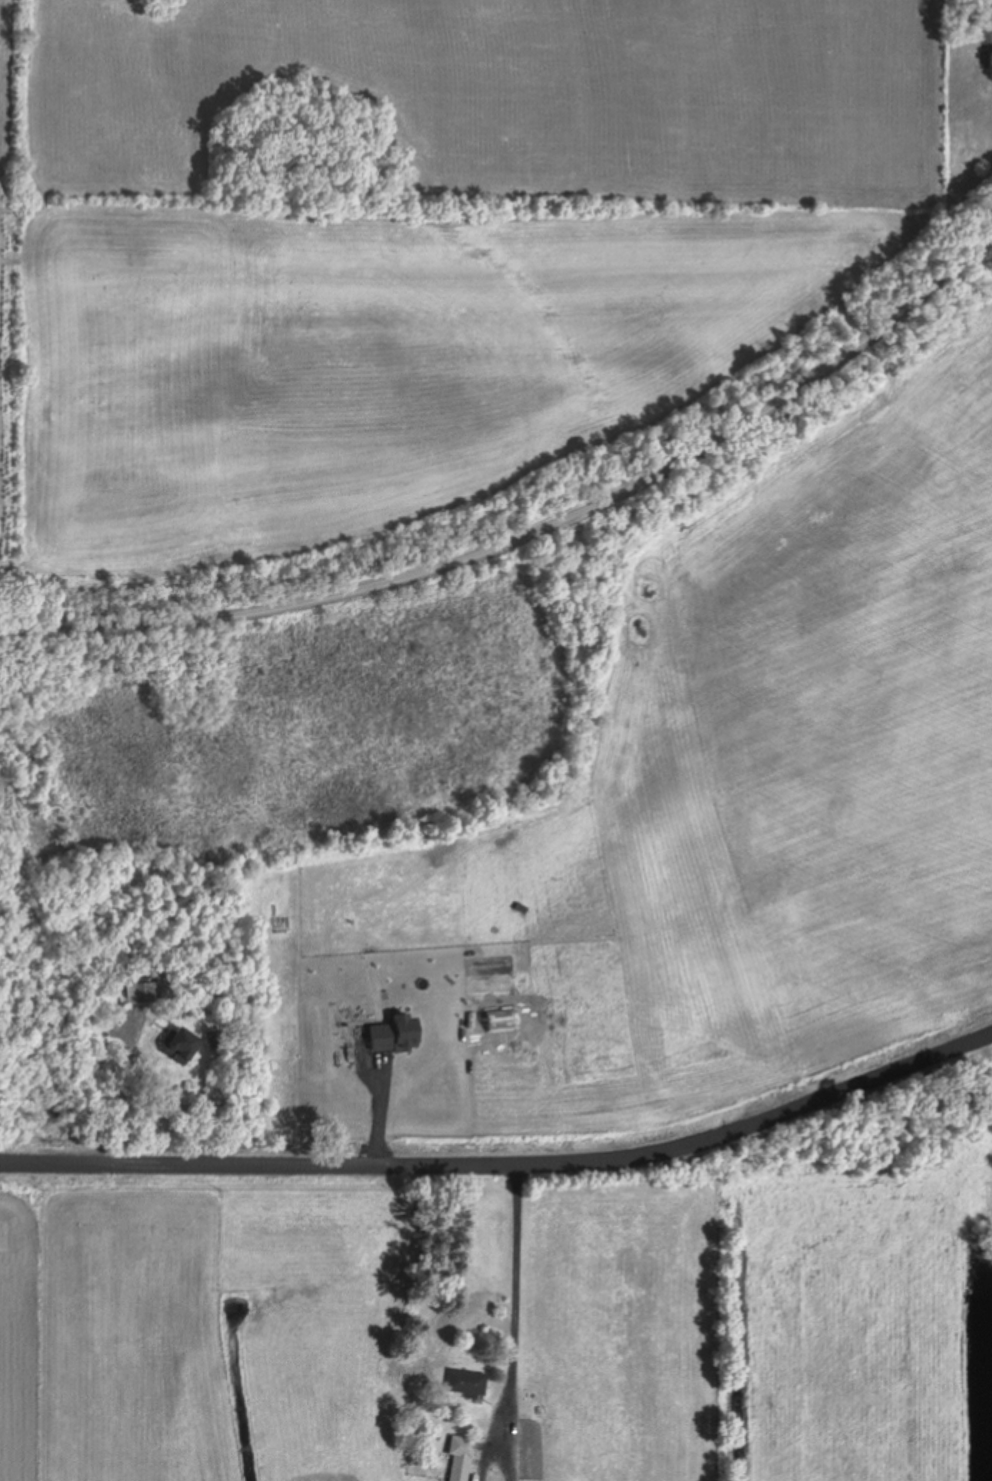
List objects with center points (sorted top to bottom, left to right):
crop: (416, 248)
road: (533, 532)
crop: (698, 824)
building: (145, 992)
building: (176, 1046)
road: (506, 1158)
building: (465, 1384)
building: (459, 1458)

